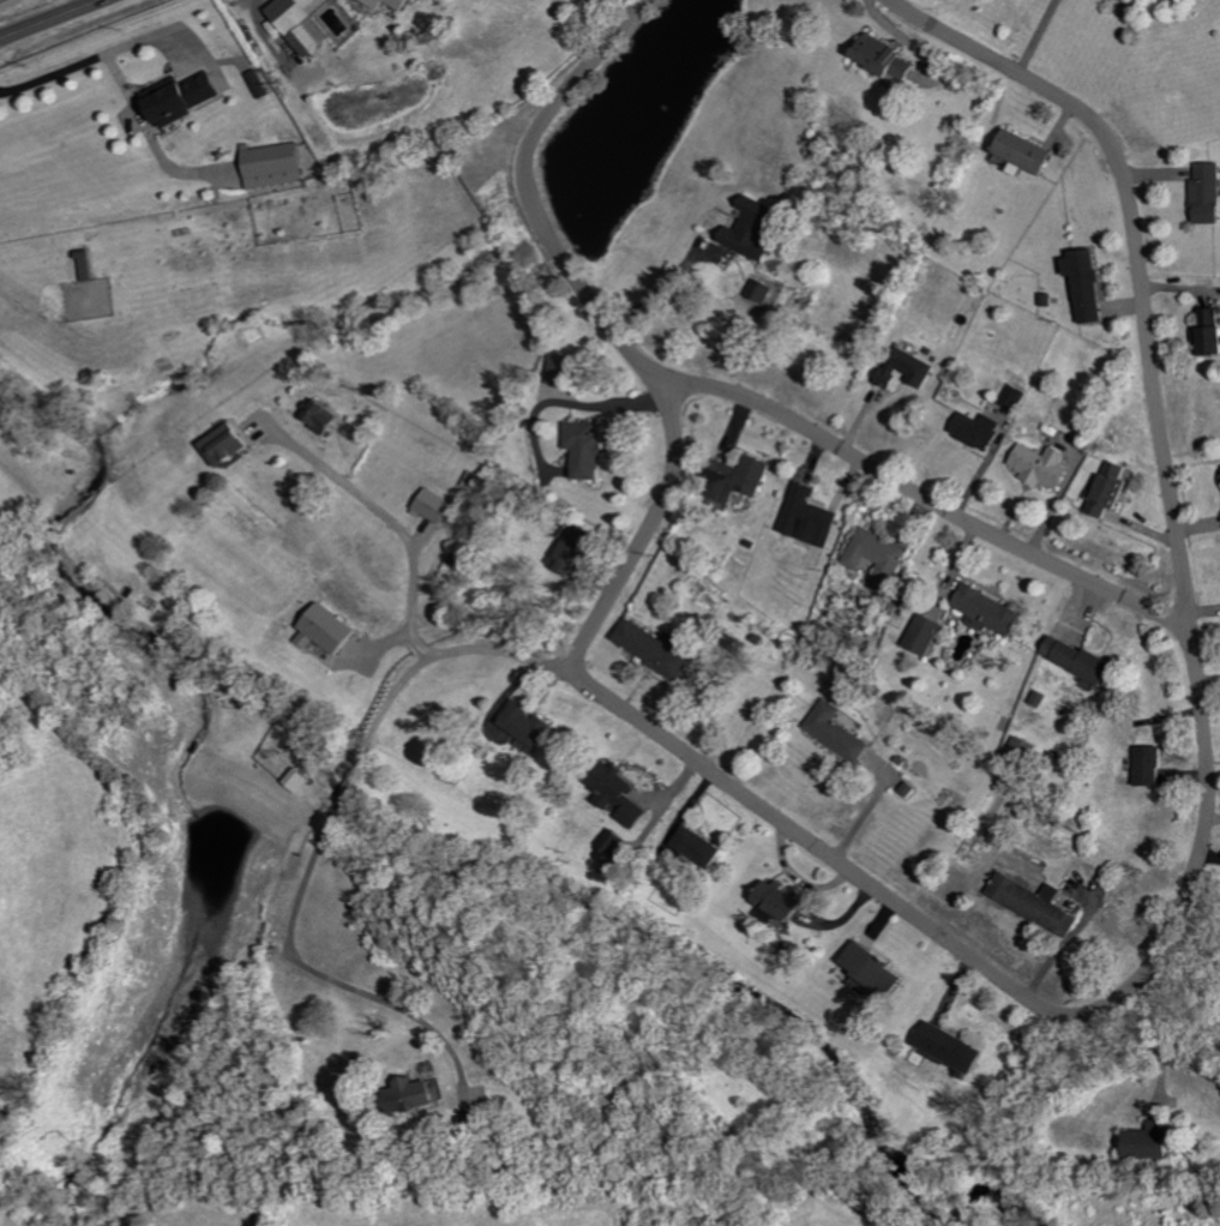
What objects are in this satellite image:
building: (1129, 0)
road: (98, 1)
building: (404, 5)
road: (53, 20)
building: (306, 23)
building: (889, 58)
building: (260, 83)
building: (187, 97)
building: (278, 164)
building: (1208, 192)
building: (751, 230)
building: (1089, 284)
road: (659, 289)
building: (761, 290)
building: (1213, 331)
road: (613, 333)
building: (563, 367)
building: (907, 368)
building: (1014, 396)
building: (325, 416)
building: (979, 429)
building: (230, 445)
building: (589, 449)
building: (1044, 465)
building: (741, 477)
building: (1112, 489)
road: (922, 499)
building: (438, 506)
road: (391, 515)
building: (810, 517)
building: (576, 549)
building: (877, 558)
building: (992, 611)
building: (329, 630)
building: (927, 633)
building: (654, 649)
building: (1083, 660)
building: (531, 723)
building: (839, 731)
building: (1154, 765)
road: (1206, 767)
building: (621, 793)
road: (333, 817)
building: (613, 842)
building: (704, 847)
road: (1209, 854)
building: (786, 903)
building: (1038, 903)
building: (878, 969)
road: (1178, 1040)
building: (955, 1047)
building: (415, 1095)
building: (1153, 1140)

